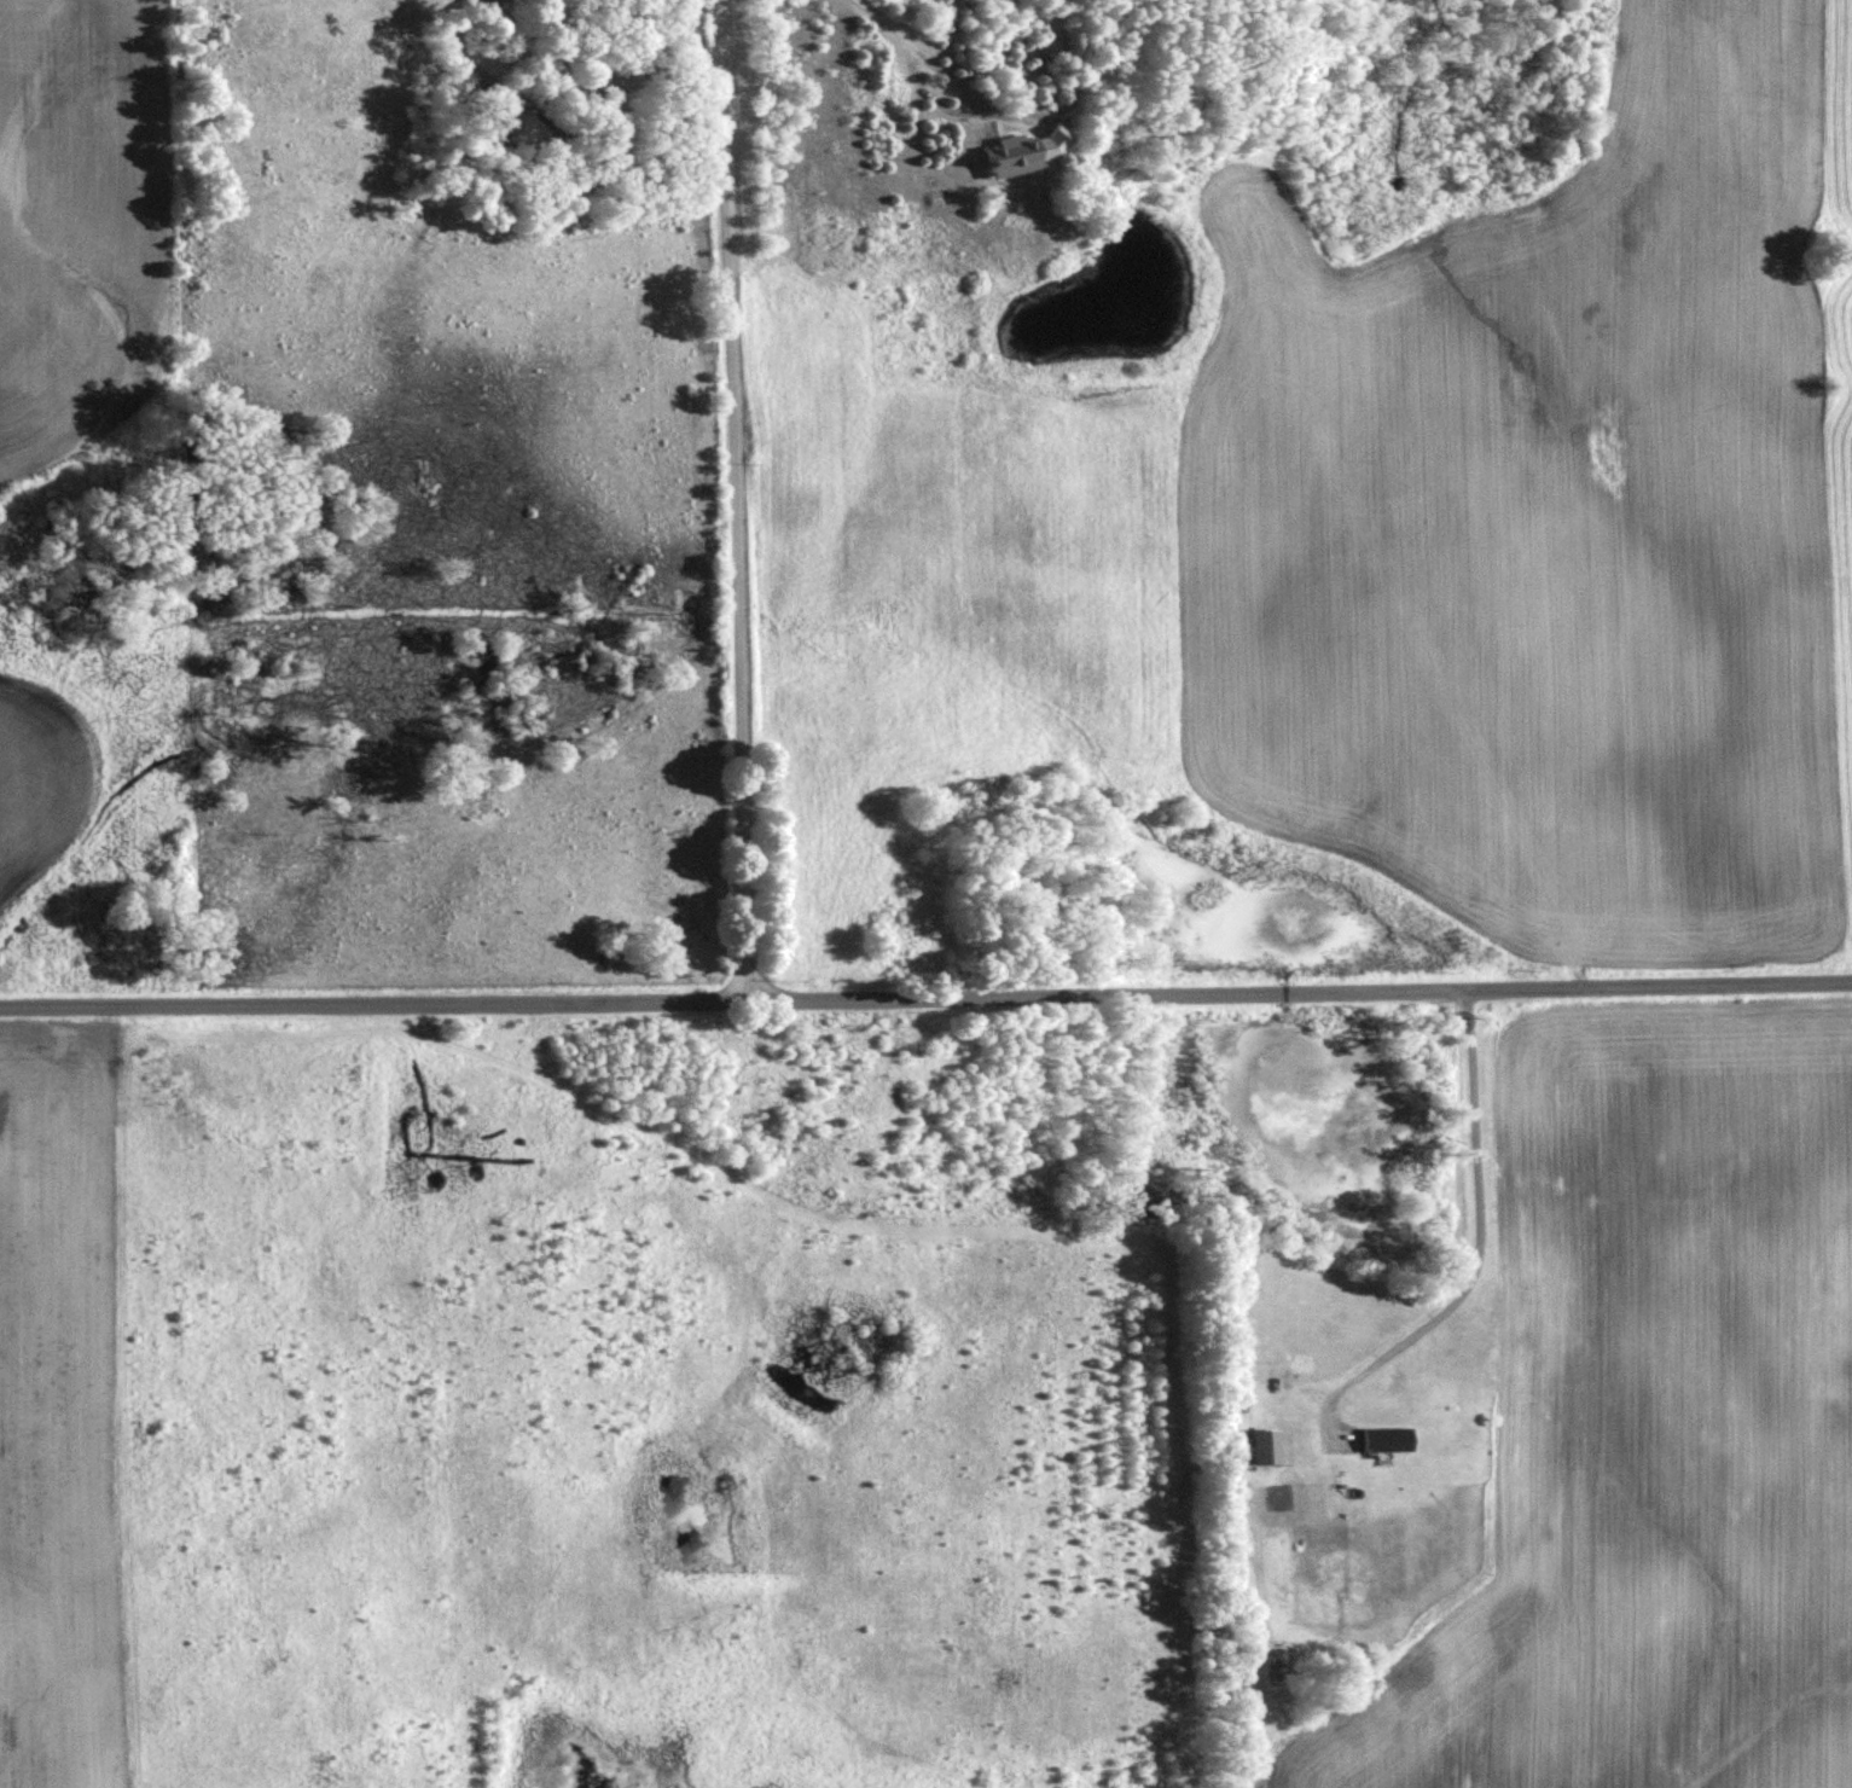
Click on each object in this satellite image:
building: (1055, 34)
building: (1023, 150)
crop: (80, 214)
road: (726, 498)
crop: (40, 773)
road: (925, 993)
building: (1384, 1436)
building: (1265, 1444)

